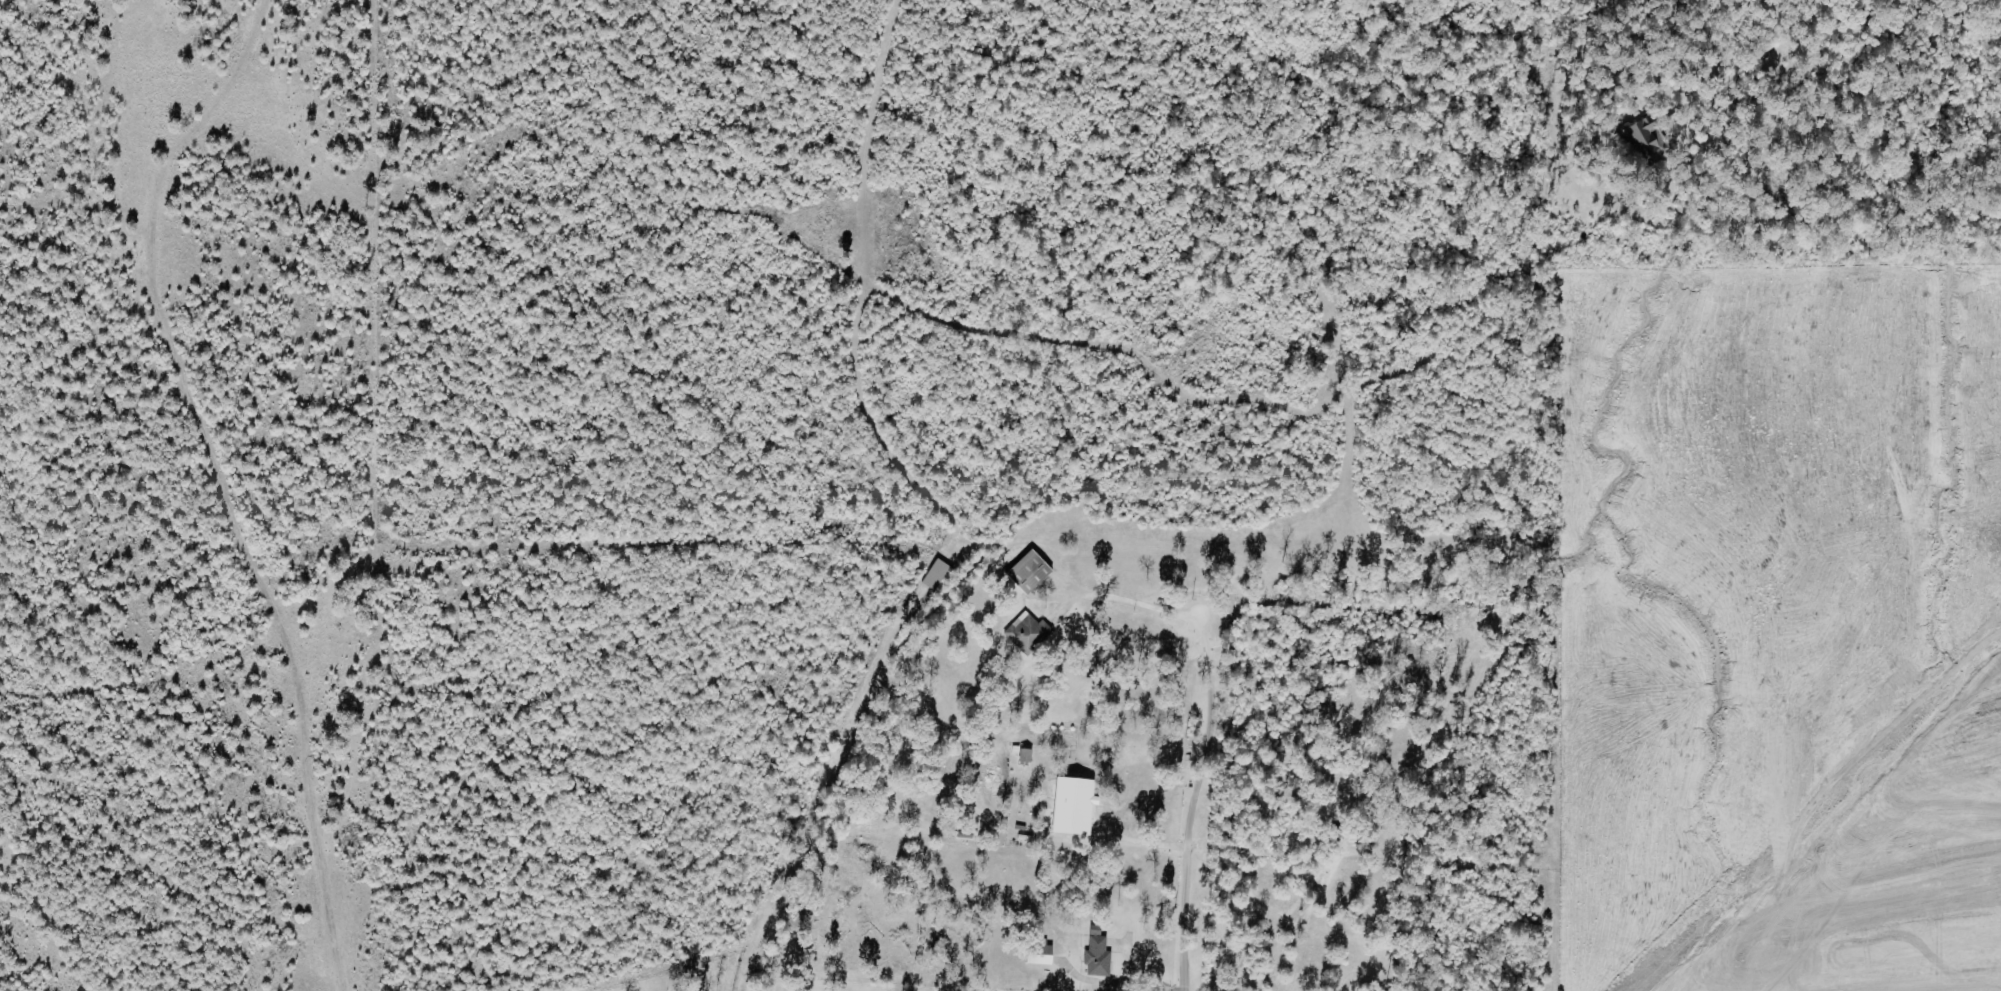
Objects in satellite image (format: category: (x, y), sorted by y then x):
building: (1644, 140)
building: (1030, 572)
building: (937, 575)
road: (54, 589)
building: (1028, 632)
road: (1206, 746)
building: (1026, 755)
road: (1838, 787)
building: (1075, 806)
road: (1137, 846)
building: (1040, 952)
building: (1098, 954)
road: (1132, 972)
park: (683, 977)

